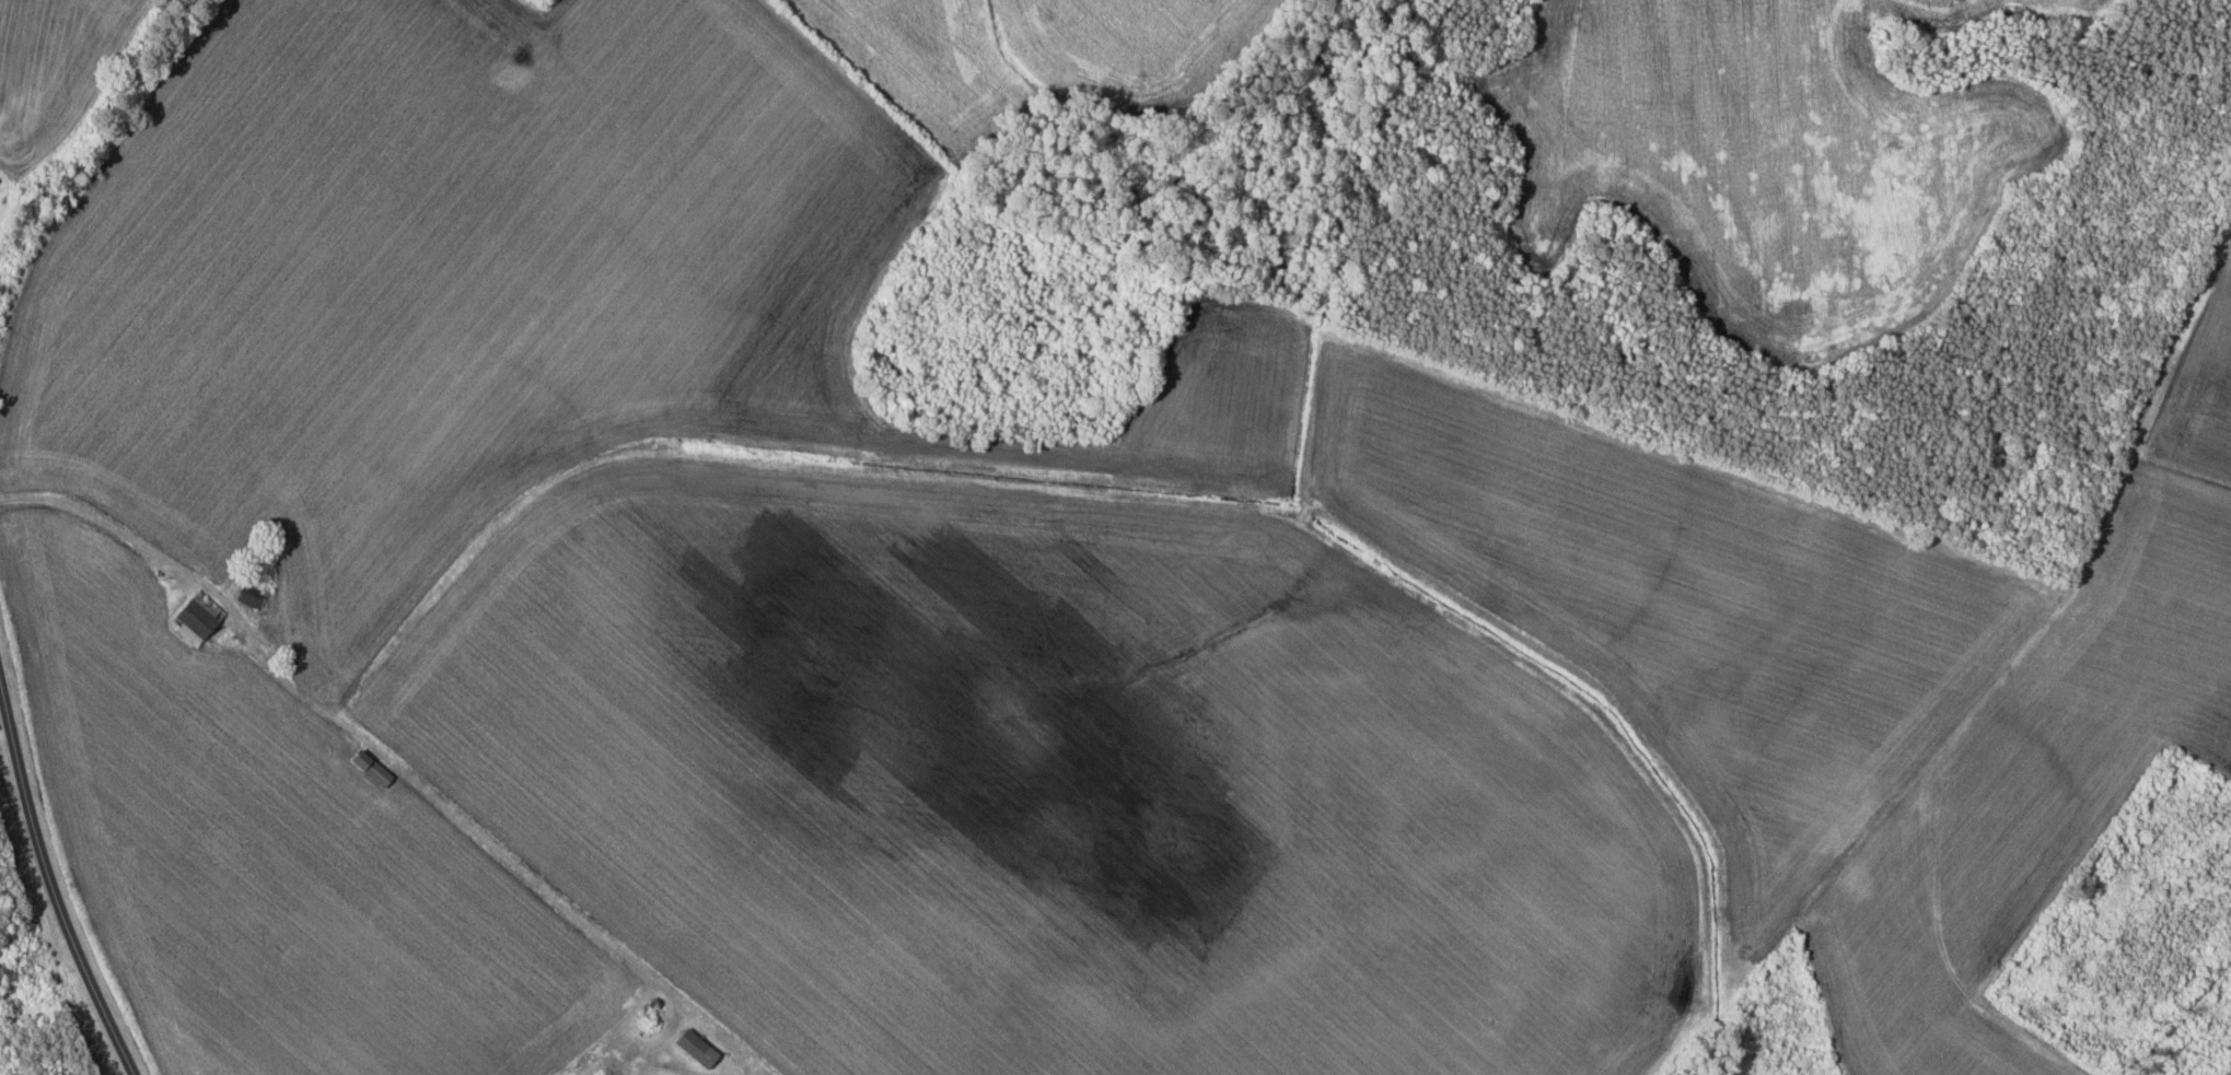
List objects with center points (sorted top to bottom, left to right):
road: (50, 884)

